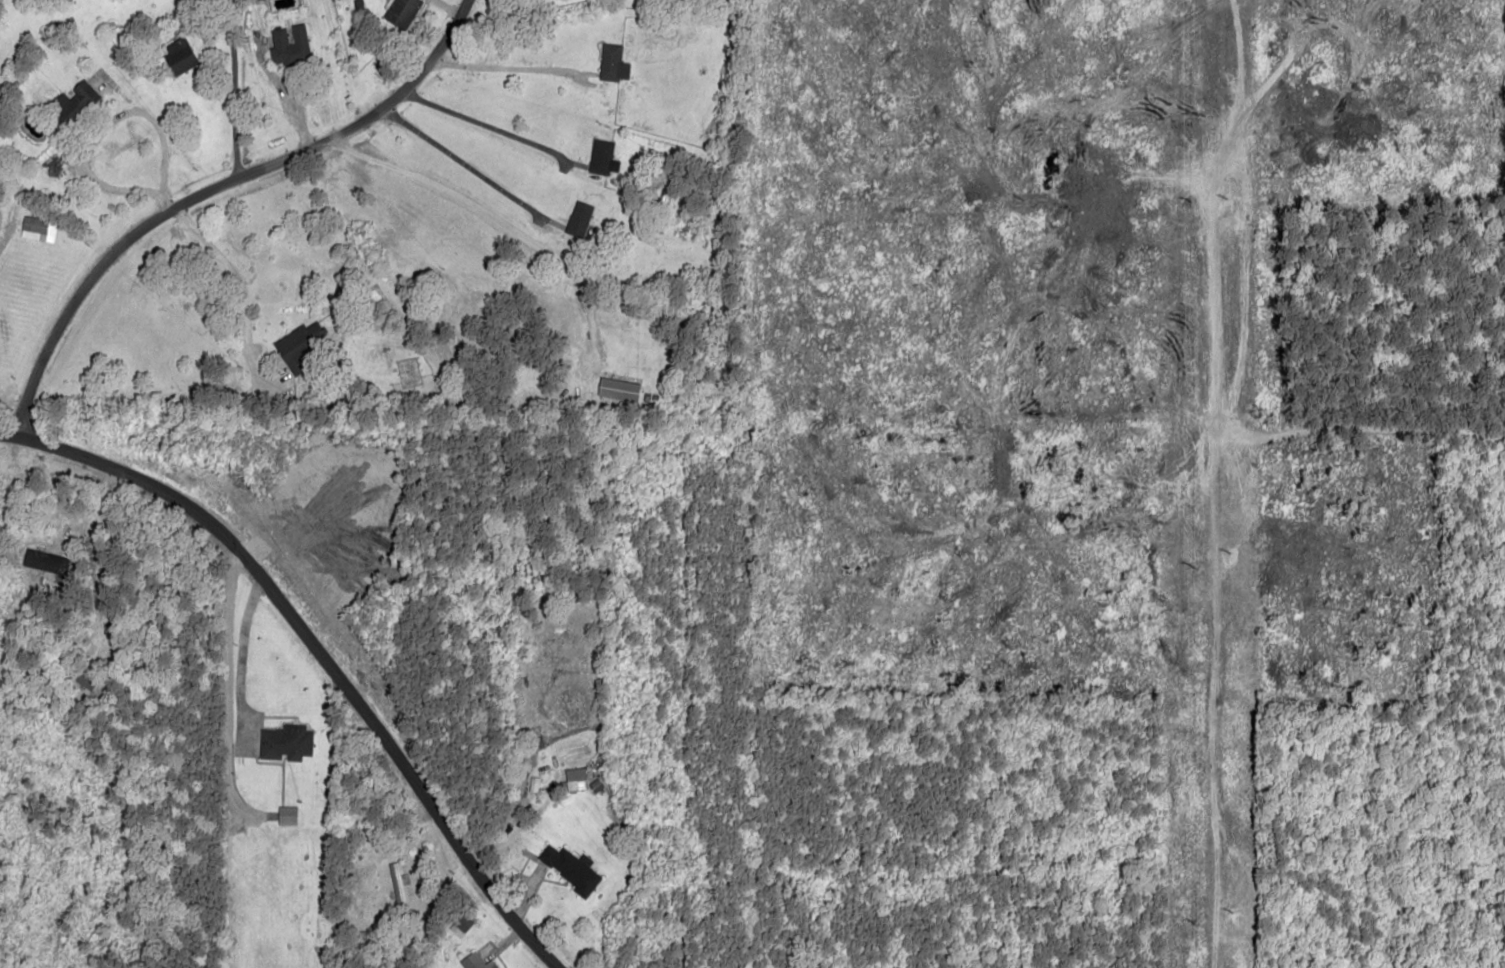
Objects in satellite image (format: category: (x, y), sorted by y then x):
building: (252, 0)
building: (401, 12)
building: (289, 45)
building: (177, 56)
building: (612, 63)
building: (73, 99)
building: (602, 157)
road: (209, 190)
building: (578, 218)
building: (37, 229)
building: (298, 345)
building: (617, 389)
road: (1049, 463)
building: (44, 561)
road: (221, 608)
road: (316, 652)
road: (234, 662)
building: (284, 743)
building: (572, 785)
building: (285, 816)
building: (570, 869)
building: (459, 925)
building: (476, 961)

